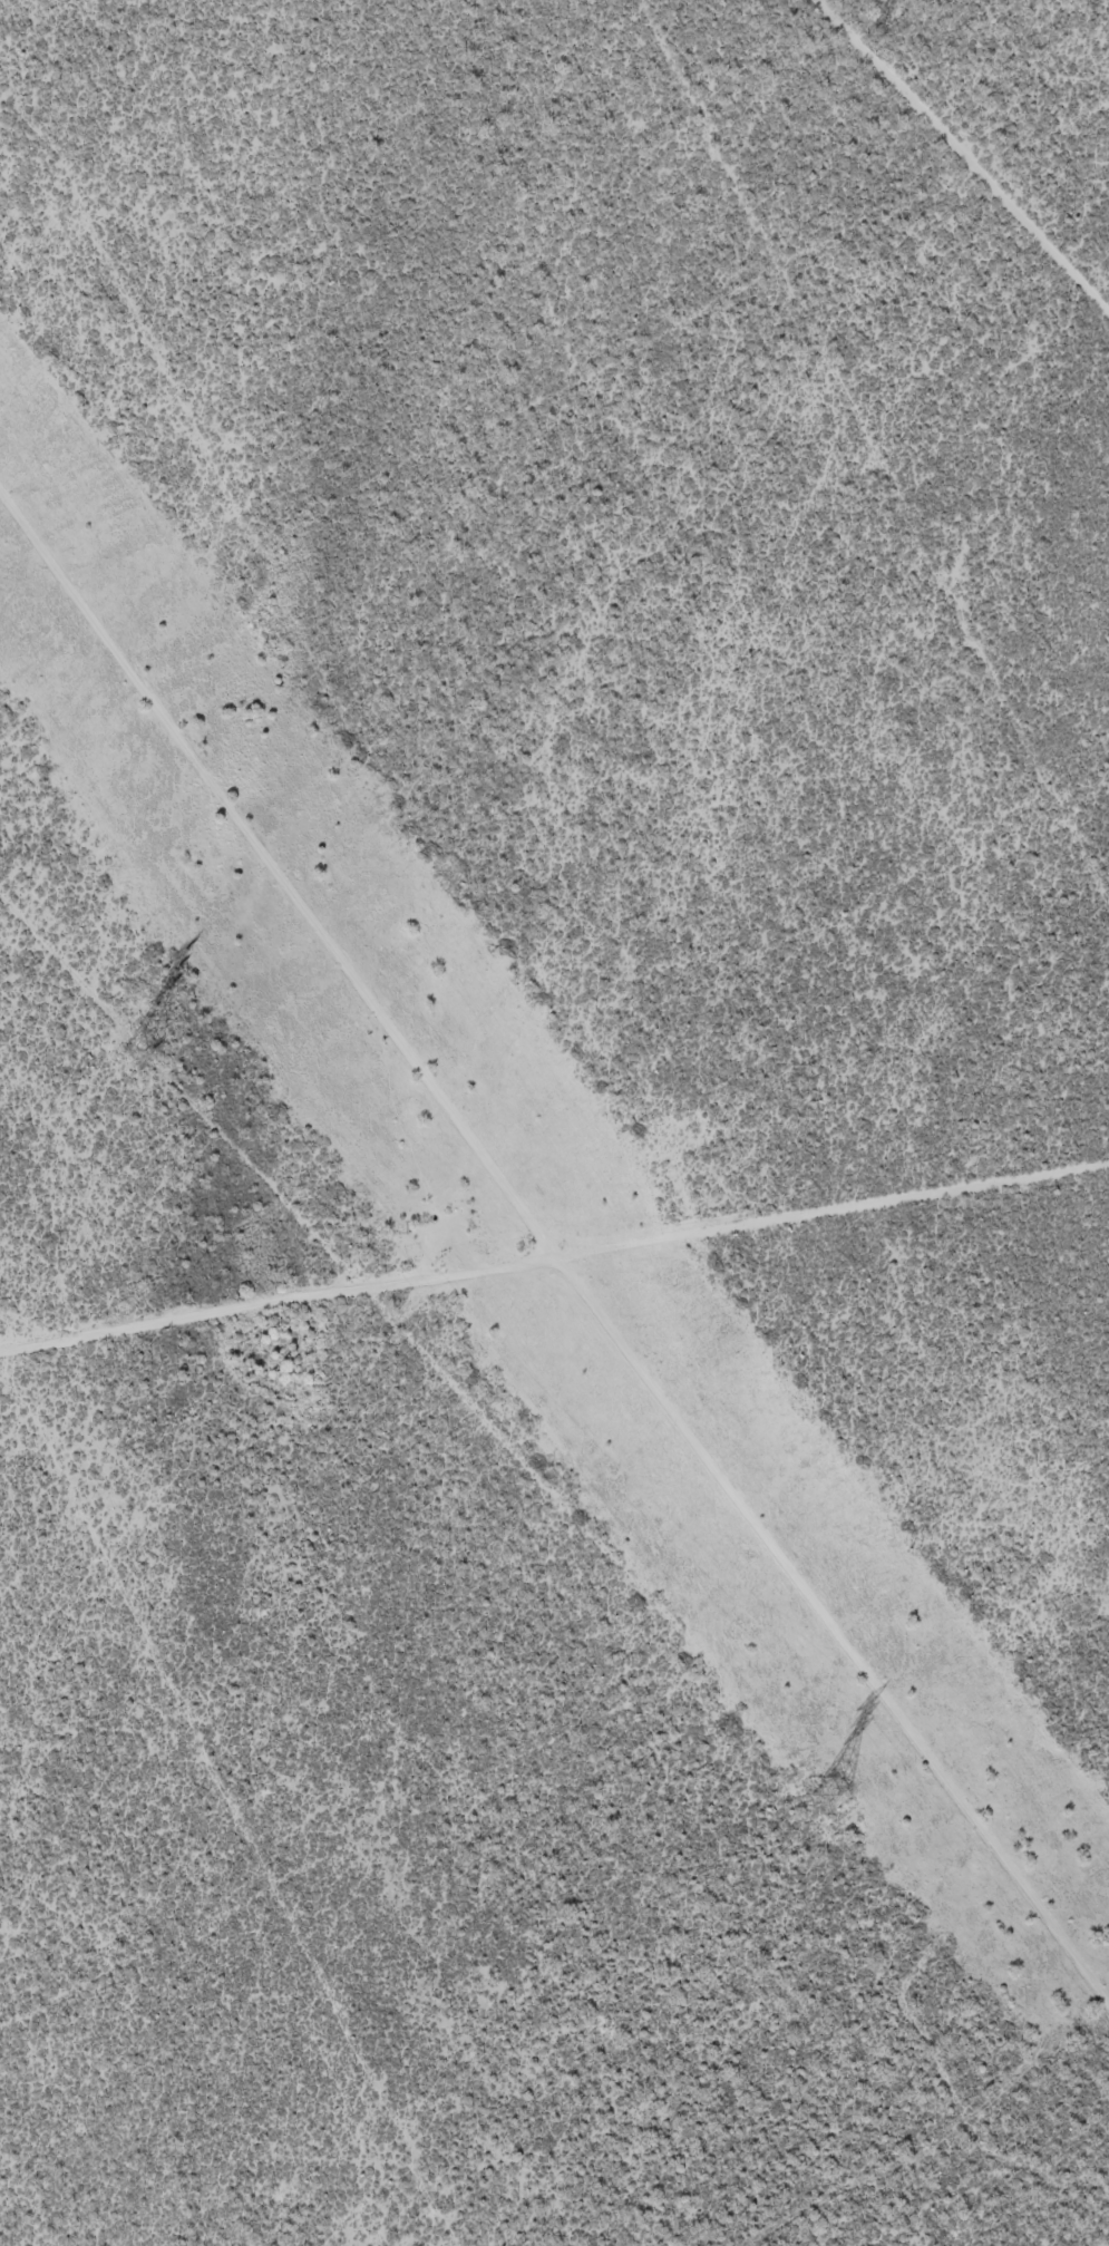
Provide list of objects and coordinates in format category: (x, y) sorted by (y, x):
power tower: (866, 38)
power tower: (138, 1049)
power tower: (825, 1791)

